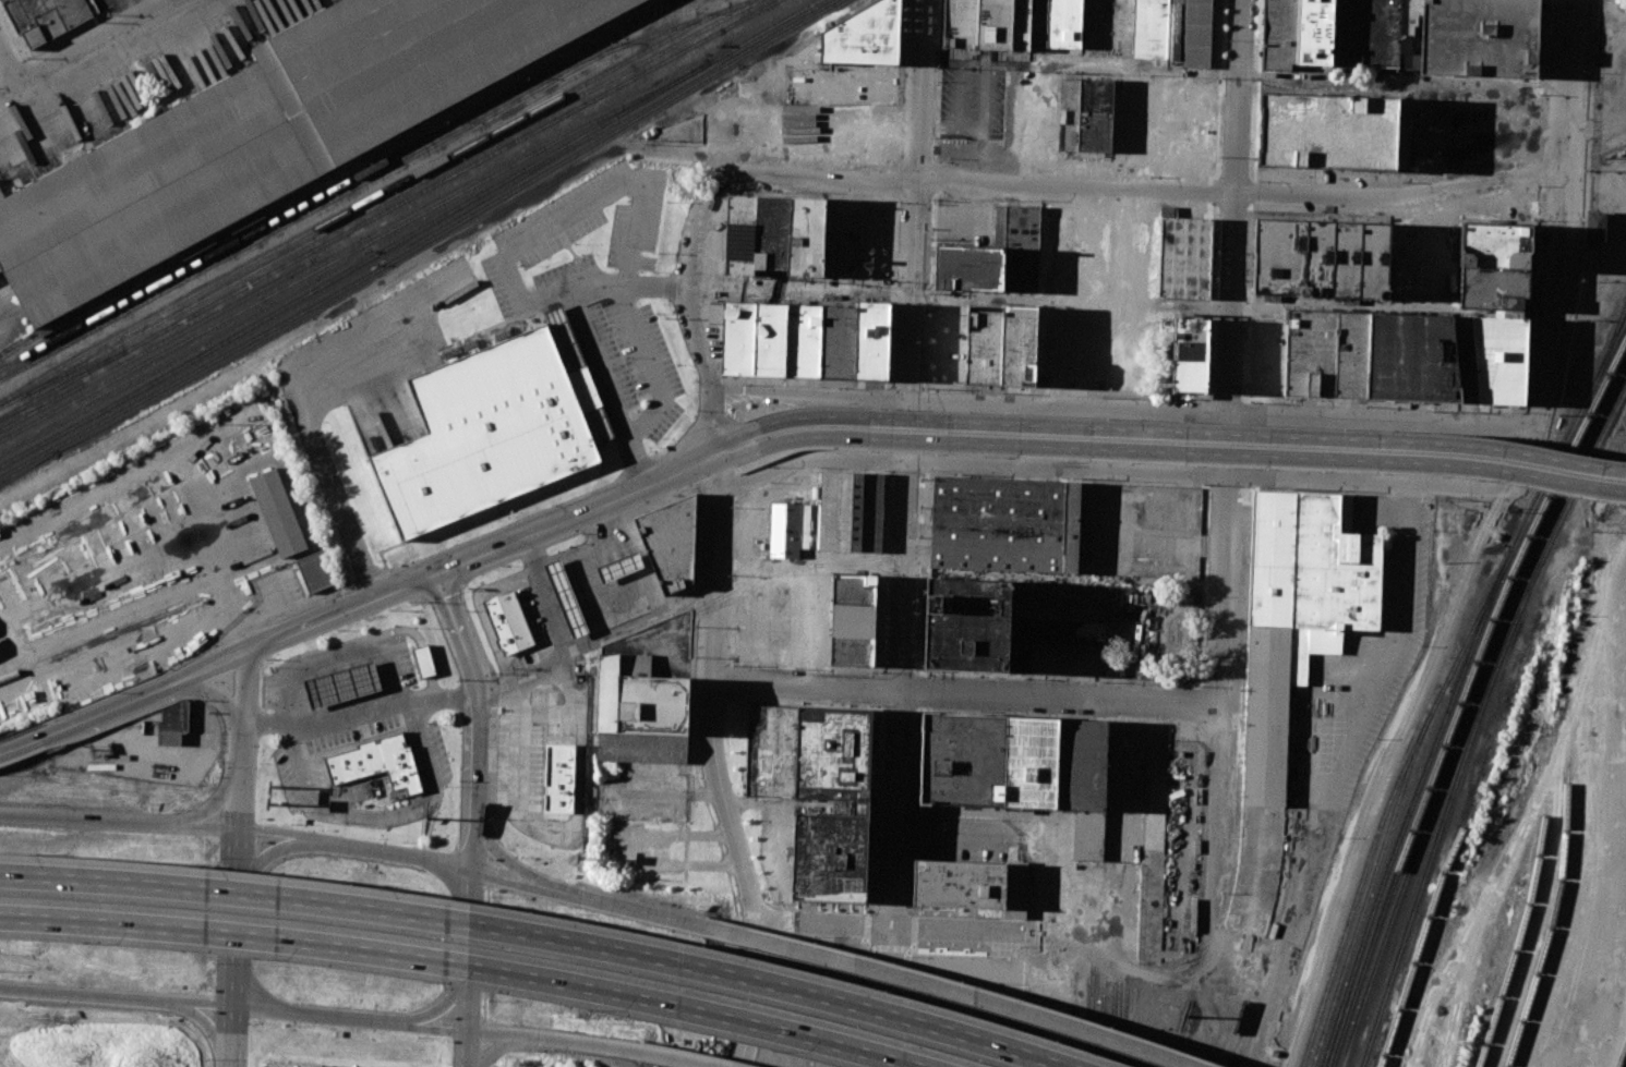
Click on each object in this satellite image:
building: (45, 17)
building: (957, 23)
building: (1408, 23)
building: (993, 24)
building: (1021, 24)
building: (1037, 24)
building: (1064, 26)
building: (1149, 28)
railway: (762, 31)
building: (1314, 32)
building: (1175, 33)
building: (1196, 33)
building: (1279, 33)
building: (1365, 33)
railway: (780, 34)
building: (862, 36)
building: (1479, 36)
road: (1256, 40)
road: (82, 46)
road: (1045, 60)
road: (8, 69)
road: (1163, 70)
railway: (706, 71)
road: (1400, 85)
road: (1219, 90)
road: (935, 93)
building: (1095, 114)
road: (1036, 122)
road: (1253, 131)
building: (1327, 131)
building: (268, 135)
railway: (574, 154)
road: (1218, 167)
road: (1233, 167)
road: (1249, 167)
railway: (359, 184)
road: (1139, 189)
road: (1213, 191)
road: (1251, 191)
railway: (373, 195)
railway: (310, 201)
road: (914, 201)
road: (1504, 202)
railway: (378, 203)
railway: (463, 204)
road: (1213, 204)
road: (1250, 205)
railway: (388, 208)
building: (1595, 225)
building: (1000, 227)
building: (773, 230)
building: (742, 237)
building: (806, 237)
road: (840, 240)
building: (1494, 244)
road: (1553, 247)
building: (1021, 248)
railway: (352, 250)
road: (506, 256)
building: (1184, 257)
building: (1306, 257)
building: (1373, 259)
building: (968, 268)
railway: (157, 270)
road: (807, 287)
building: (1493, 288)
parking lot: (598, 290)
road: (898, 291)
road: (928, 292)
road: (1058, 296)
road: (984, 298)
road: (716, 302)
road: (1212, 302)
road: (1144, 306)
road: (690, 314)
building: (564, 337)
building: (752, 338)
road: (640, 340)
building: (802, 340)
building: (871, 340)
building: (836, 341)
building: (1000, 344)
railway: (152, 347)
railway: (1607, 349)
road: (1230, 352)
building: (1325, 353)
building: (1190, 355)
building: (1410, 357)
building: (1498, 357)
railway: (215, 360)
road: (1152, 360)
railway: (75, 371)
road: (297, 393)
road: (807, 397)
railway: (44, 401)
road: (1327, 401)
railway: (110, 404)
road: (1218, 415)
road: (790, 417)
road: (725, 423)
building: (598, 424)
road: (1036, 425)
railway: (2, 428)
building: (487, 432)
road: (1056, 437)
road: (1332, 437)
road: (792, 438)
road: (1035, 445)
road: (800, 447)
street lamp: (870, 451)
road: (1418, 451)
street lamp: (938, 453)
street lamp: (987, 456)
street lamp: (1003, 456)
street lamp: (1069, 458)
road: (1542, 458)
road: (1330, 459)
street lamp: (1134, 461)
street lamp: (1200, 463)
road: (1246, 463)
street lamp: (761, 465)
road: (738, 466)
street lamp: (1238, 466)
street lamp: (1272, 466)
street lamp: (1327, 469)
road: (737, 471)
street lamp: (1387, 471)
road: (1111, 472)
street lamp: (1446, 474)
railway: (1582, 475)
road: (1542, 477)
street lamp: (1481, 478)
road: (715, 482)
street lamp: (1519, 483)
road: (735, 484)
railway: (131, 492)
street lamp: (1574, 494)
road: (735, 495)
street lamp: (673, 501)
street lamp: (1624, 501)
street lamp: (735, 507)
building: (278, 511)
building: (851, 511)
railway: (115, 513)
road: (576, 513)
building: (1004, 524)
building: (809, 526)
building: (784, 530)
street lamp: (581, 533)
road: (208, 541)
building: (670, 542)
road: (582, 558)
building: (619, 566)
road: (807, 566)
street lamp: (502, 567)
road: (884, 567)
building: (315, 570)
road: (732, 578)
road: (460, 593)
road: (543, 596)
building: (564, 596)
road: (340, 615)
building: (1297, 616)
building: (1053, 618)
railway: (1467, 618)
building: (852, 619)
building: (506, 621)
building: (966, 623)
road: (595, 638)
railway: (99, 641)
road: (1048, 652)
road: (334, 659)
building: (423, 660)
road: (918, 672)
building: (341, 682)
building: (614, 684)
railway: (1456, 686)
road: (245, 689)
road: (966, 692)
road: (146, 695)
railway: (1462, 696)
road: (221, 698)
building: (652, 704)
street lamp: (157, 710)
railway: (1468, 710)
road: (360, 711)
road: (480, 719)
building: (170, 726)
railway: (1483, 732)
road: (893, 733)
road: (206, 740)
street lamp: (68, 743)
road: (23, 744)
building: (640, 748)
building: (770, 750)
building: (832, 752)
building: (963, 760)
building: (376, 762)
road: (715, 762)
building: (1029, 762)
building: (1081, 765)
road: (1386, 772)
road: (241, 777)
building: (558, 777)
railway: (1387, 801)
railway: (1449, 801)
road: (217, 804)
road: (386, 819)
road: (120, 821)
road: (1038, 823)
railway: (1567, 827)
road: (275, 834)
building: (1088, 835)
road: (1213, 839)
road: (1318, 841)
railway: (1543, 841)
railway: (1472, 845)
road: (269, 852)
road: (390, 854)
road: (498, 854)
building: (830, 854)
road: (491, 863)
railway: (1446, 866)
road: (462, 881)
building: (959, 884)
railway: (1369, 888)
building: (1015, 889)
road: (579, 895)
road: (234, 919)
road: (900, 927)
road: (539, 932)
road: (470, 950)
road: (485, 953)
road: (456, 963)
road: (938, 987)
road: (250, 989)
road: (87, 994)
road: (202, 1004)
road: (435, 1008)
road: (313, 1015)
railway: (1092, 1017)
railway: (1103, 1022)
railway: (1115, 1022)
road: (206, 1024)
railway: (1122, 1026)
road: (433, 1027)
railway: (1131, 1030)
road: (228, 1036)
road: (549, 1040)
railway: (1465, 1041)
road: (481, 1044)
road: (497, 1046)
road: (468, 1050)
railway: (1365, 1055)
railway: (1622, 1056)
road: (673, 1057)
building: (333, 1066)
gas station: (333, 1066)

